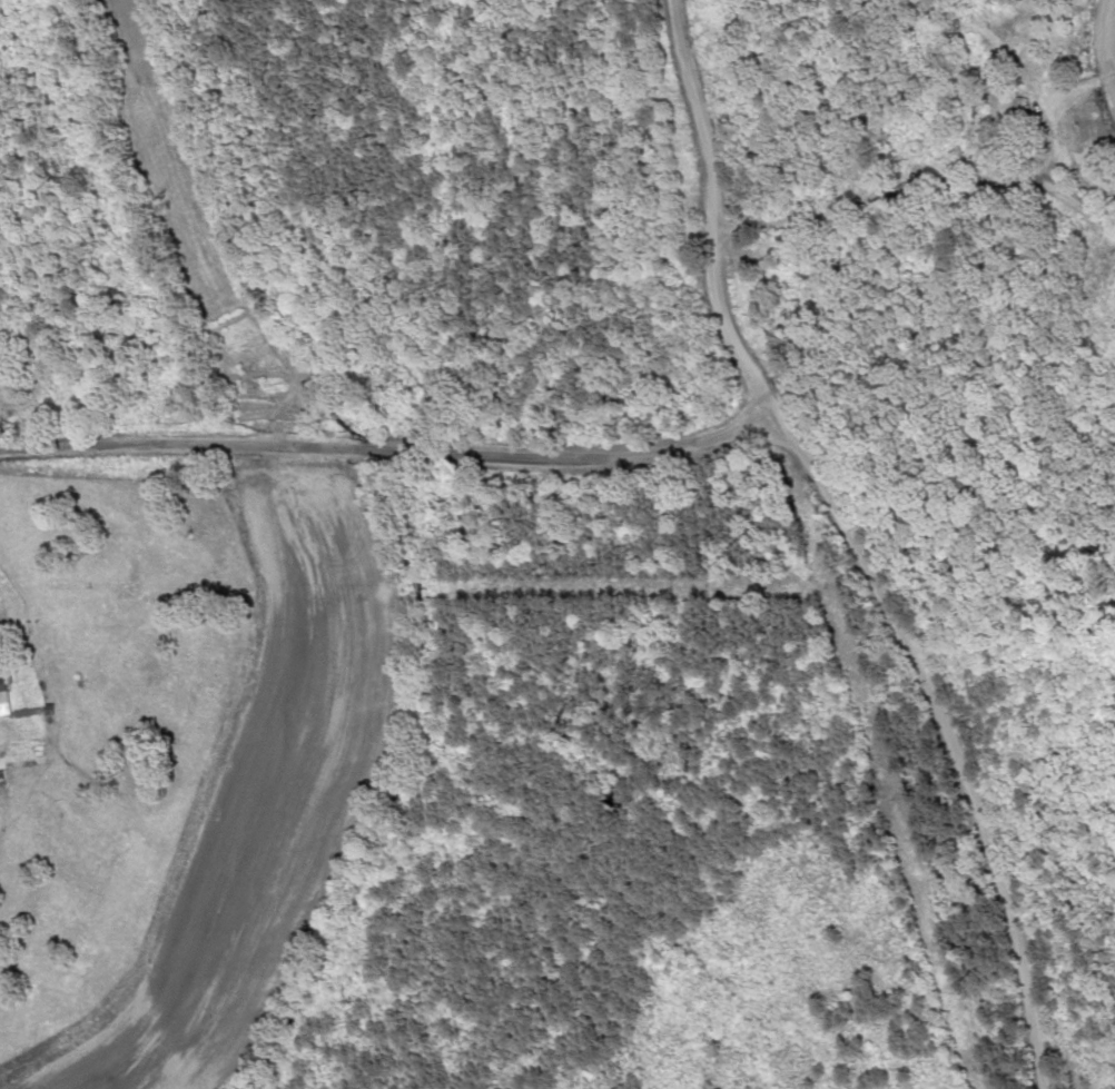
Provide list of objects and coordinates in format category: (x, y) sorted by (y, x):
building: (943, 26)
building: (1017, 109)
road: (718, 212)
road: (924, 218)
road: (393, 494)
building: (2, 690)
road: (956, 735)

